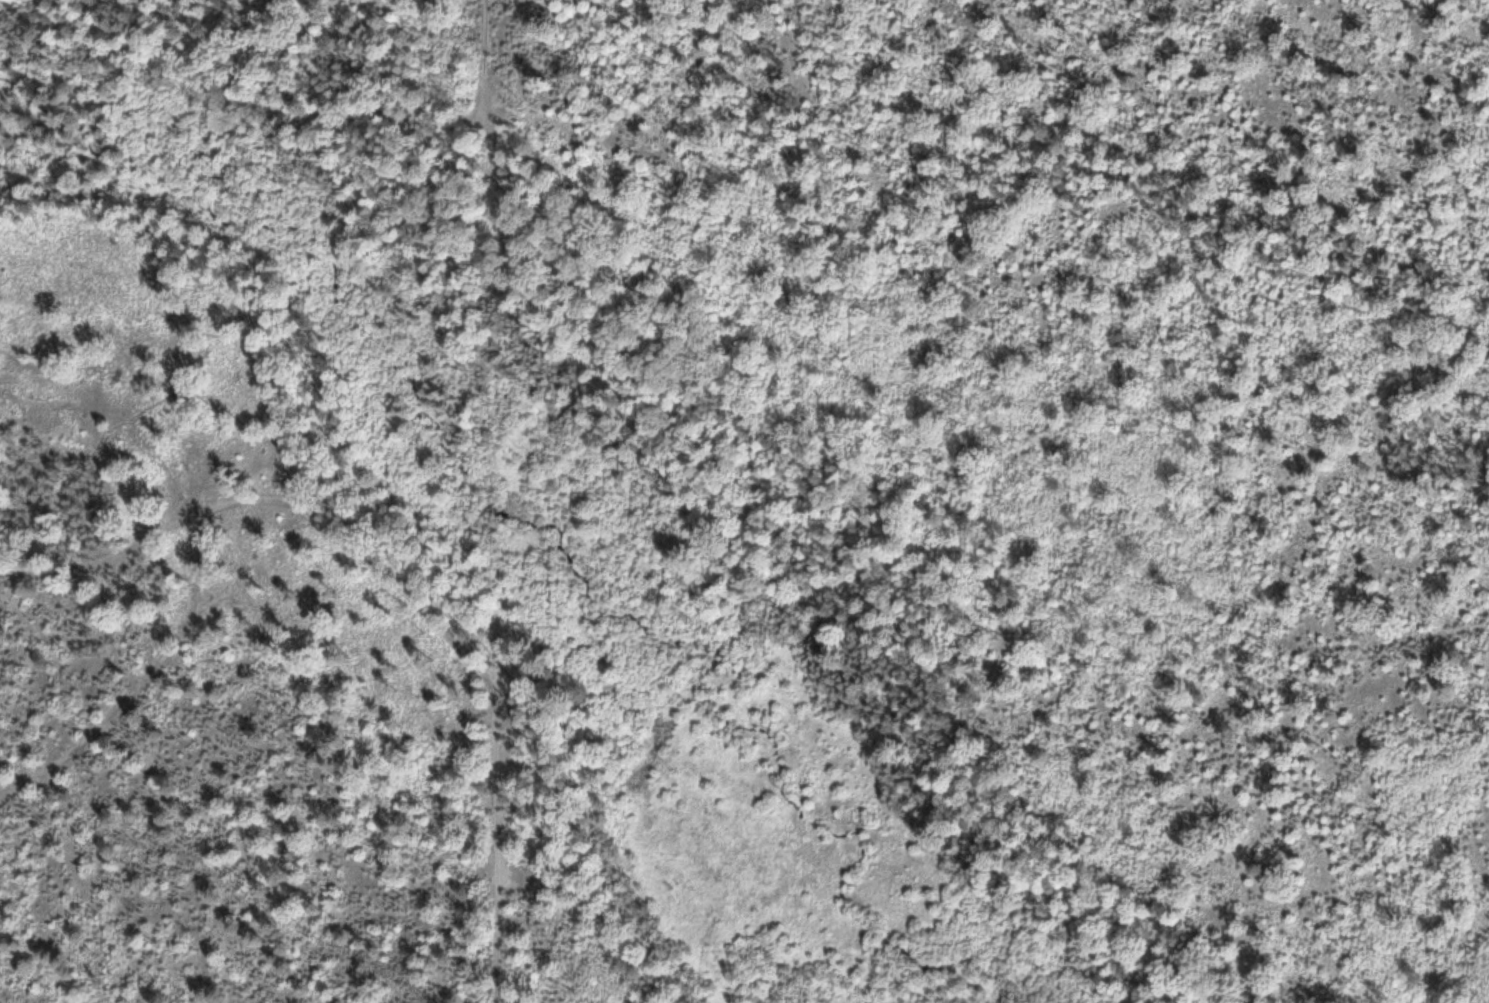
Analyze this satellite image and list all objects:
road: (485, 29)
road: (1123, 174)
road: (205, 333)
road: (136, 414)
road: (749, 442)
road: (958, 533)
road: (152, 535)
road: (425, 609)
road: (556, 846)
road: (499, 872)

